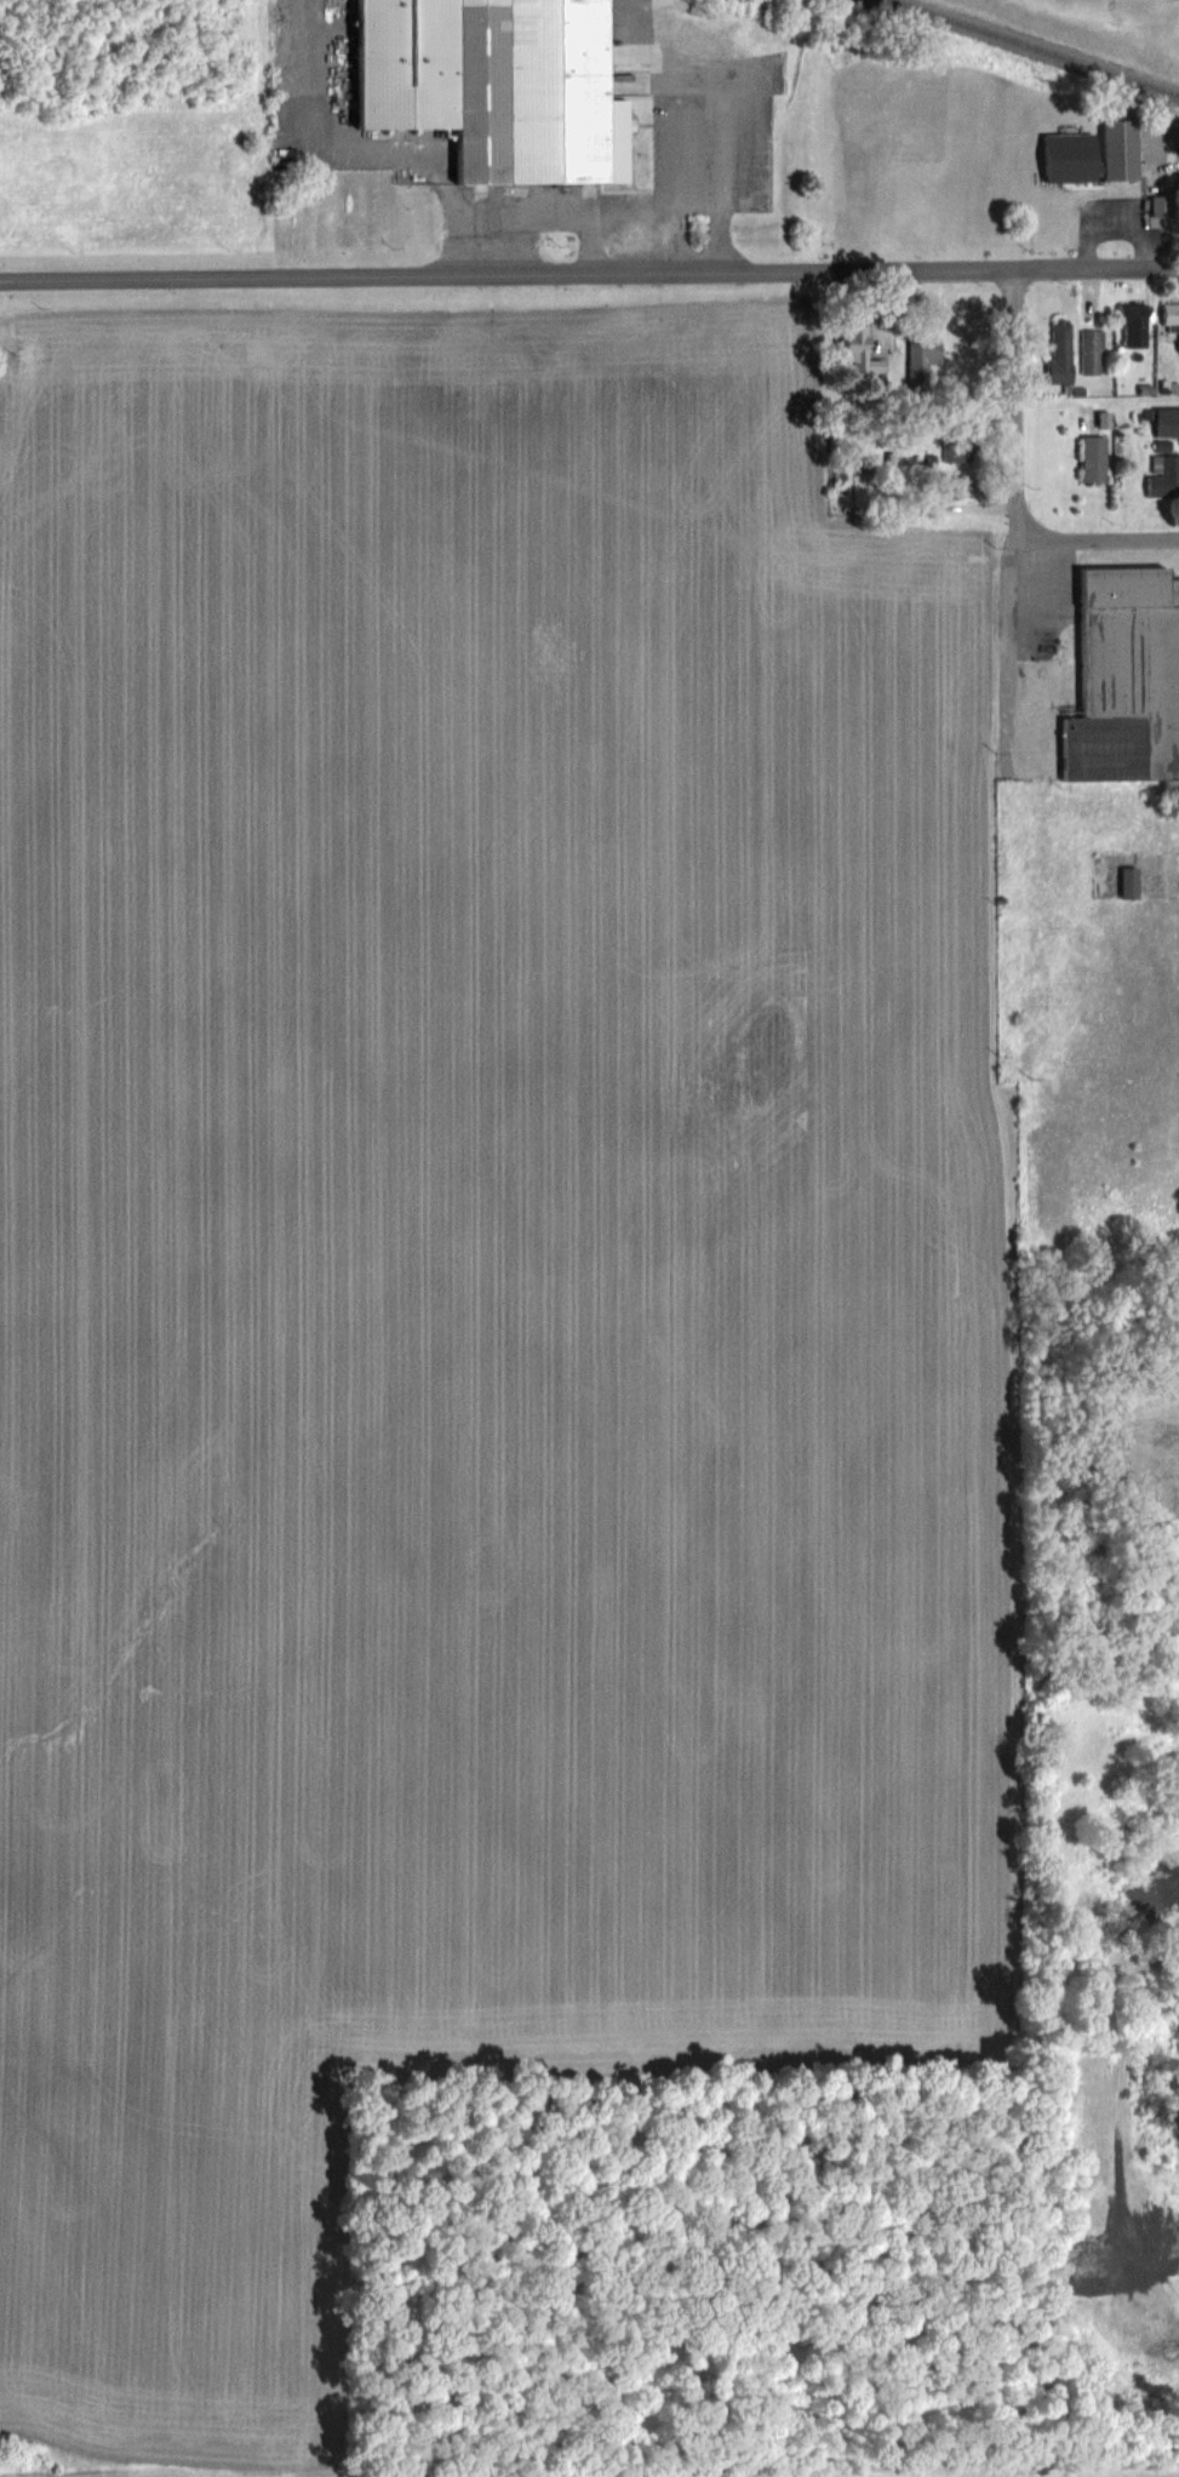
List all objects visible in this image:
railway: (1036, 47)
building: (500, 82)
road: (698, 84)
road: (373, 144)
building: (1122, 149)
road: (565, 207)
road: (590, 241)
road: (1003, 270)
road: (414, 278)
building: (1172, 321)
building: (1137, 325)
building: (874, 348)
building: (1063, 351)
building: (1093, 351)
building: (926, 359)
building: (1168, 422)
building: (1097, 458)
building: (1166, 474)
road: (1018, 530)
road: (1098, 542)
building: (1129, 677)
road: (1098, 734)
building: (1133, 883)
road: (1017, 1425)

